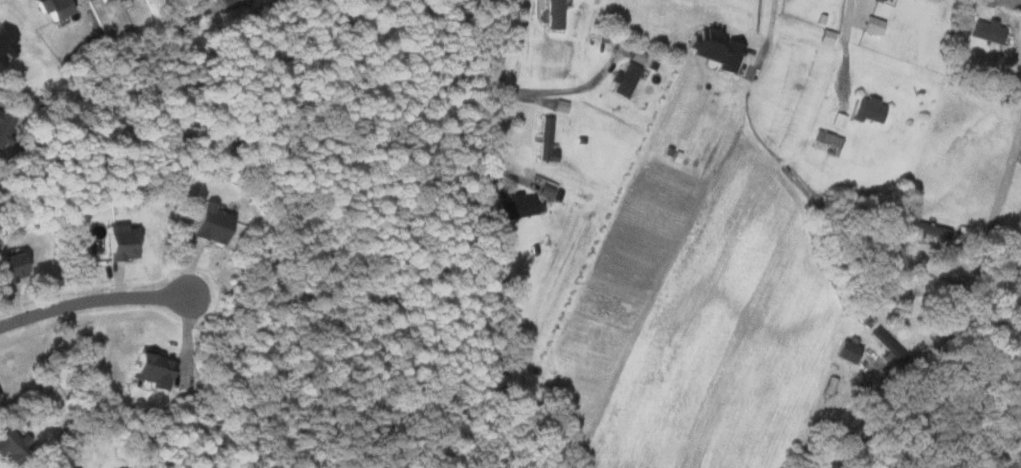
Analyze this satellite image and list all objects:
building: (100, 0)
building: (51, 8)
building: (553, 14)
building: (872, 25)
road: (770, 31)
building: (985, 31)
building: (824, 37)
road: (841, 39)
building: (5, 43)
building: (635, 56)
building: (622, 80)
road: (561, 92)
road: (489, 98)
building: (867, 110)
building: (3, 123)
building: (544, 140)
building: (515, 206)
building: (209, 224)
building: (926, 229)
building: (116, 242)
road: (983, 245)
building: (11, 267)
road: (93, 301)
building: (885, 342)
building: (846, 351)
building: (147, 369)
building: (10, 443)

